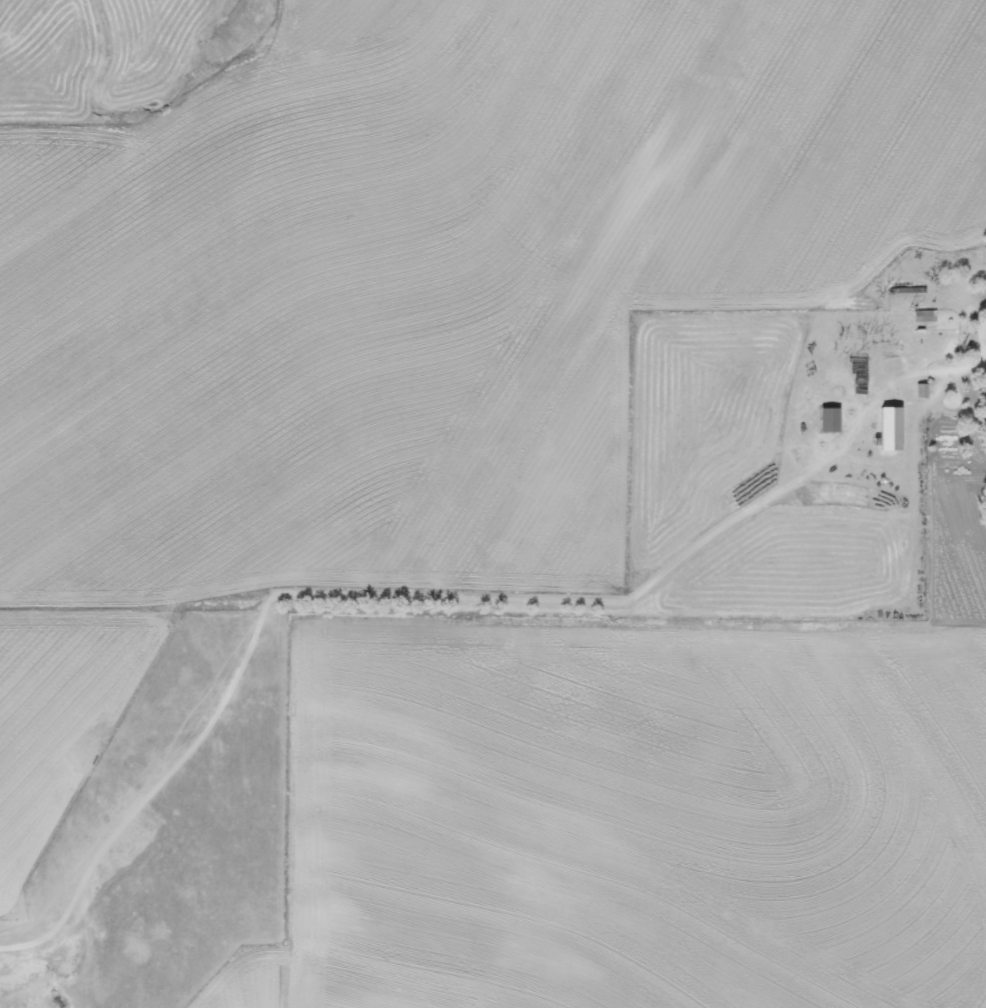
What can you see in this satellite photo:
building: (832, 421)
building: (894, 428)
road: (279, 663)

